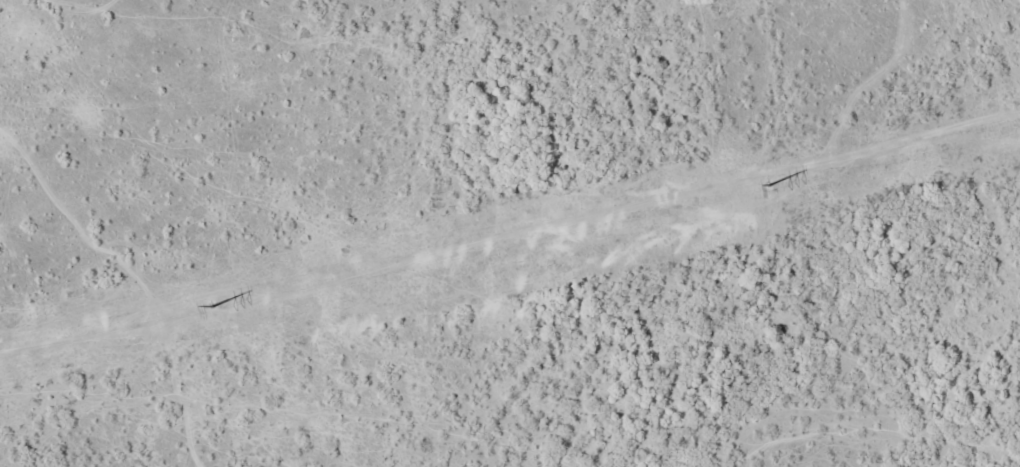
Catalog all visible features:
power tower: (767, 184)
power tower: (214, 304)

